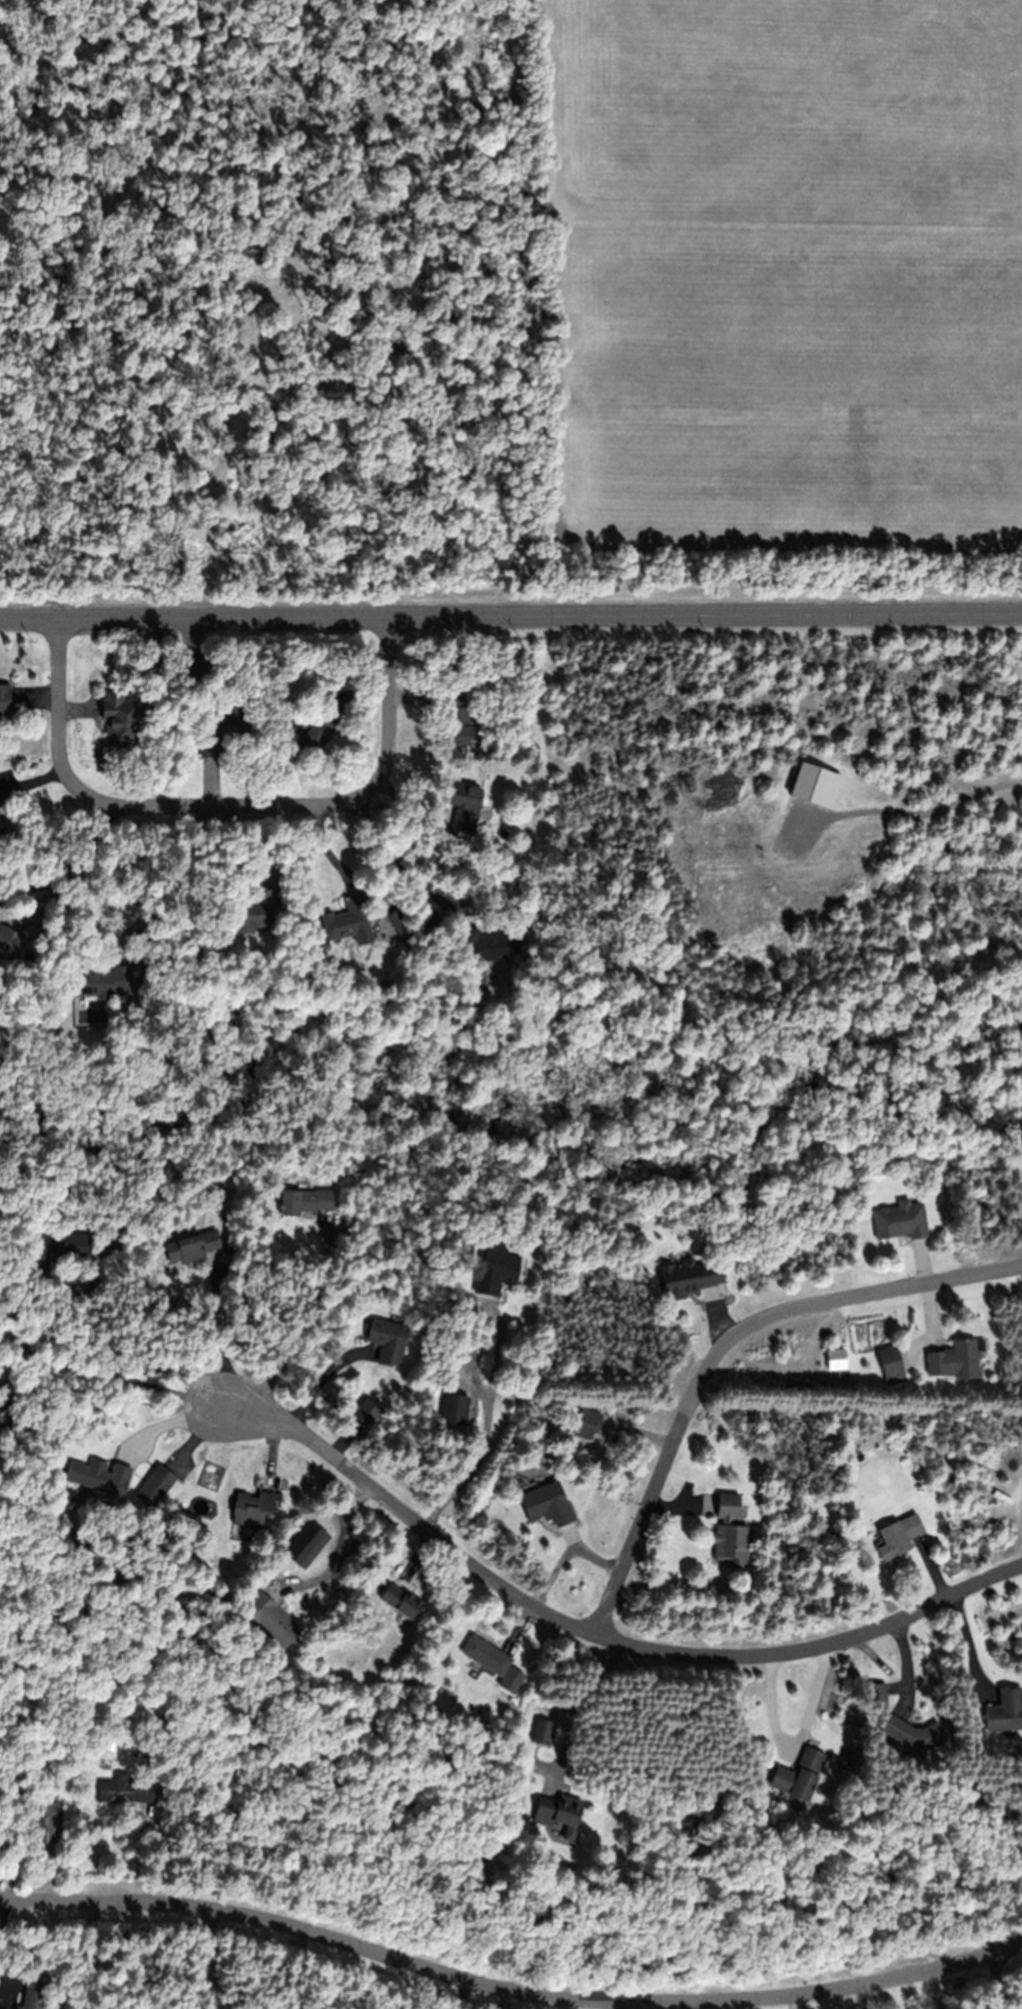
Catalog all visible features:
crop: (791, 268)
road: (510, 615)
building: (194, 663)
building: (153, 665)
building: (5, 701)
building: (119, 720)
building: (459, 721)
building: (317, 730)
building: (223, 733)
road: (221, 808)
building: (464, 810)
building: (255, 910)
building: (345, 921)
building: (400, 927)
building: (8, 942)
building: (490, 947)
building: (101, 982)
building: (306, 1203)
building: (900, 1222)
building: (57, 1249)
building: (191, 1249)
building: (495, 1270)
building: (690, 1278)
building: (387, 1341)
road: (724, 1342)
building: (890, 1362)
building: (953, 1363)
building: (454, 1410)
building: (586, 1424)
building: (92, 1476)
building: (155, 1486)
building: (546, 1503)
building: (252, 1508)
building: (729, 1531)
building: (898, 1536)
building: (401, 1601)
building: (270, 1620)
road: (642, 1645)
building: (486, 1655)
building: (1005, 1711)
building: (542, 1732)
building: (912, 1736)
building: (799, 1775)
building: (128, 1790)
building: (558, 1812)
building: (45, 1823)
road: (512, 1953)
building: (33, 1991)

